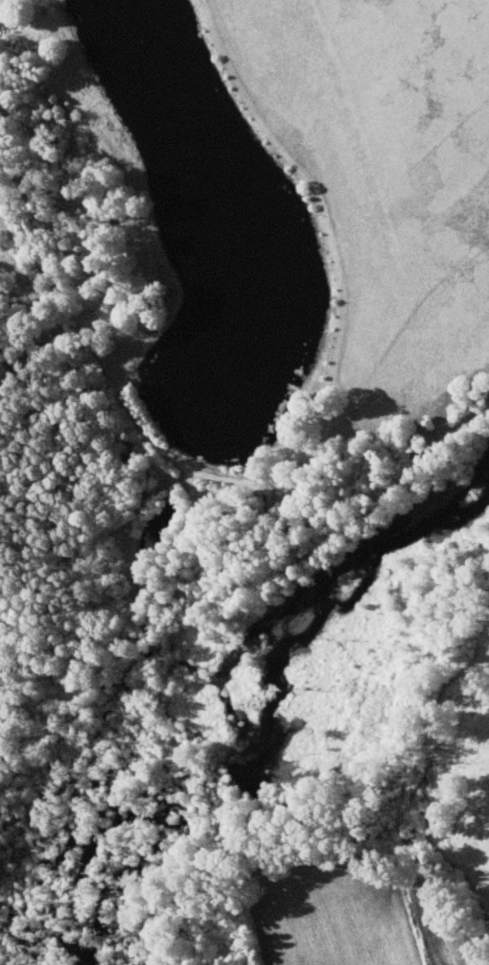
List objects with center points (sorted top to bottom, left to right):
road: (86, 352)

